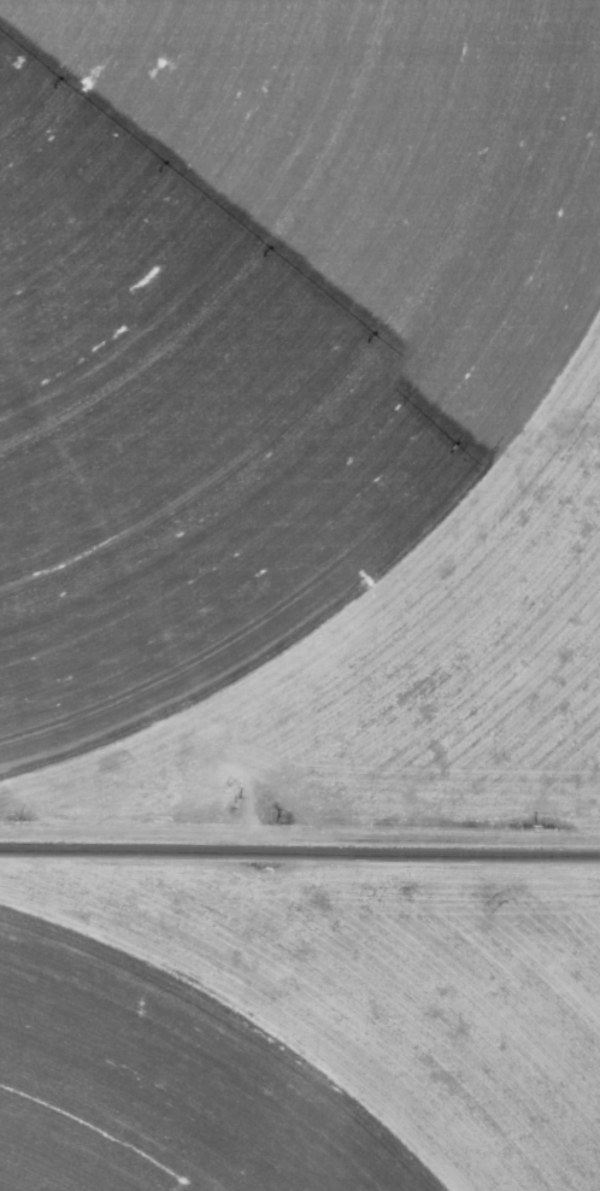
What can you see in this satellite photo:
road: (300, 863)

